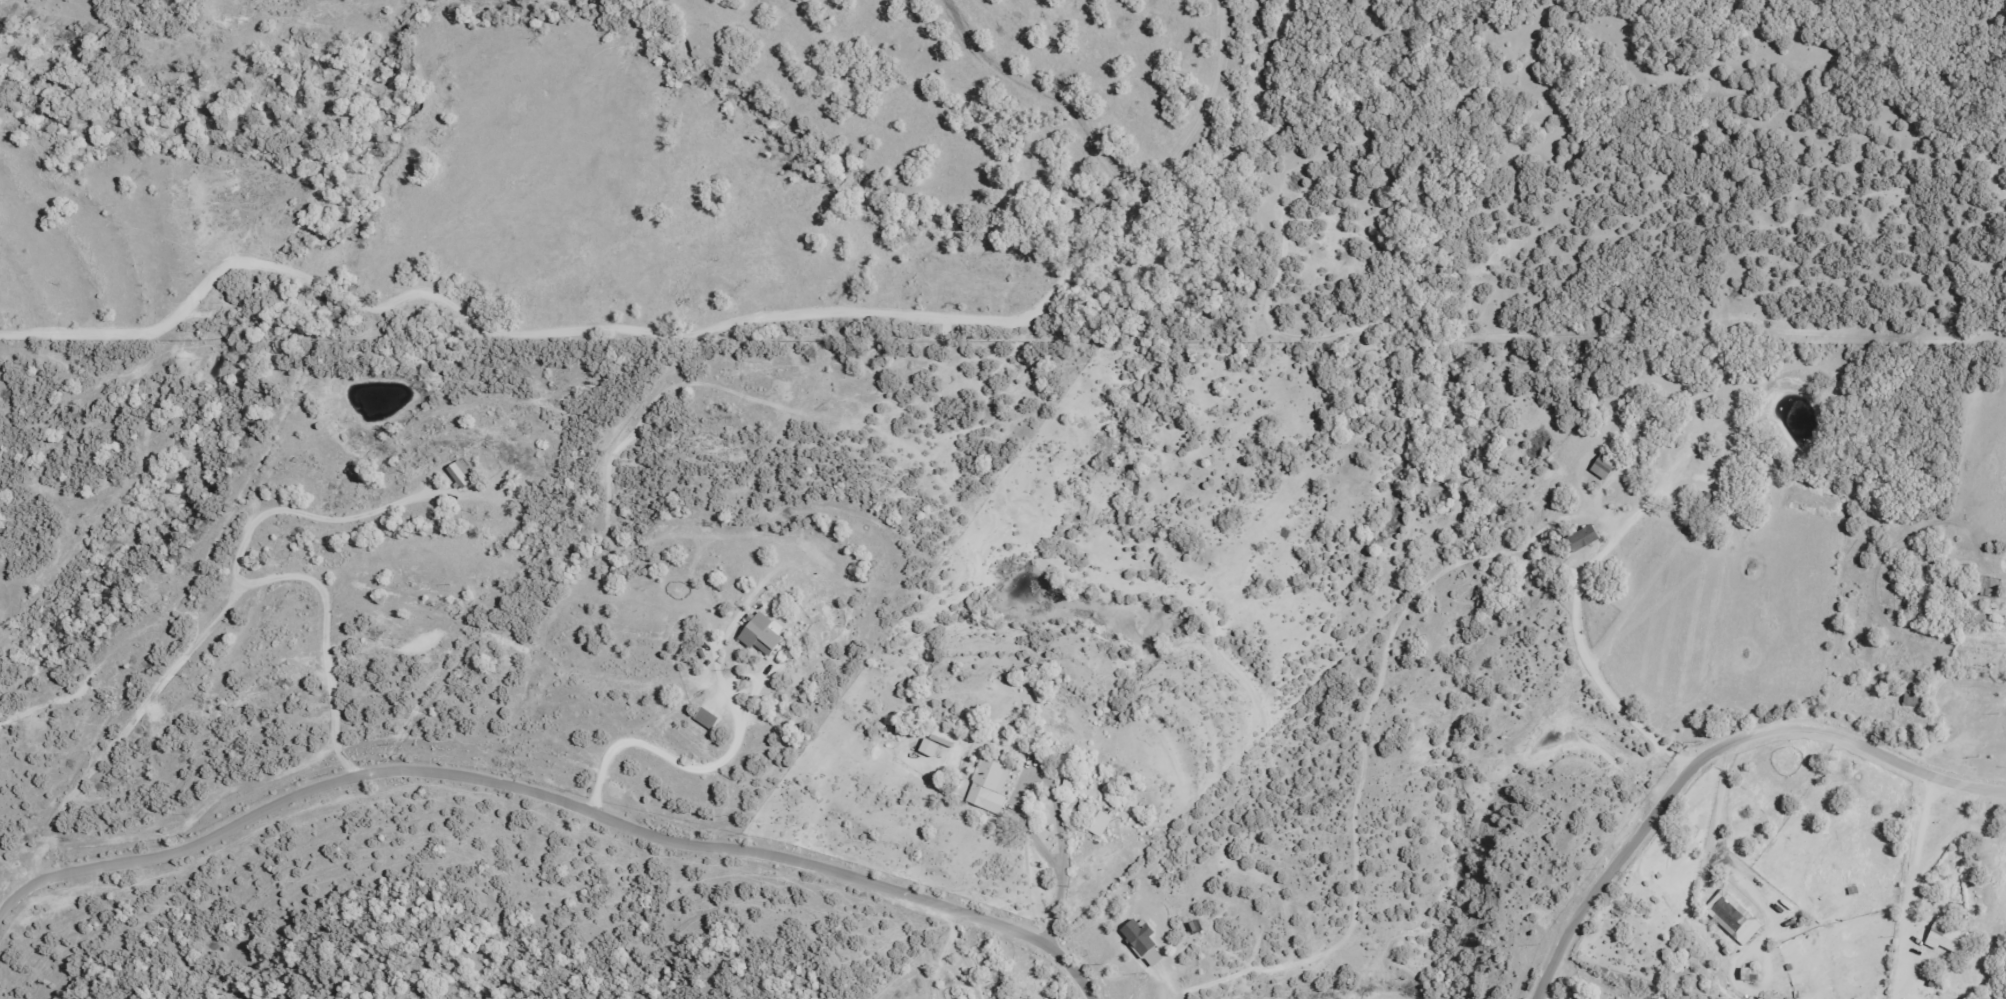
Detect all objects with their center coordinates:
road: (160, 280)
road: (678, 424)
building: (1602, 465)
building: (1580, 538)
building: (475, 567)
building: (757, 634)
building: (704, 718)
building: (926, 747)
road: (1717, 751)
building: (988, 784)
road: (552, 796)
building: (1098, 823)
road: (58, 853)
building: (1731, 917)
building: (1795, 923)
building: (1133, 927)
building: (1947, 937)
building: (1747, 974)

